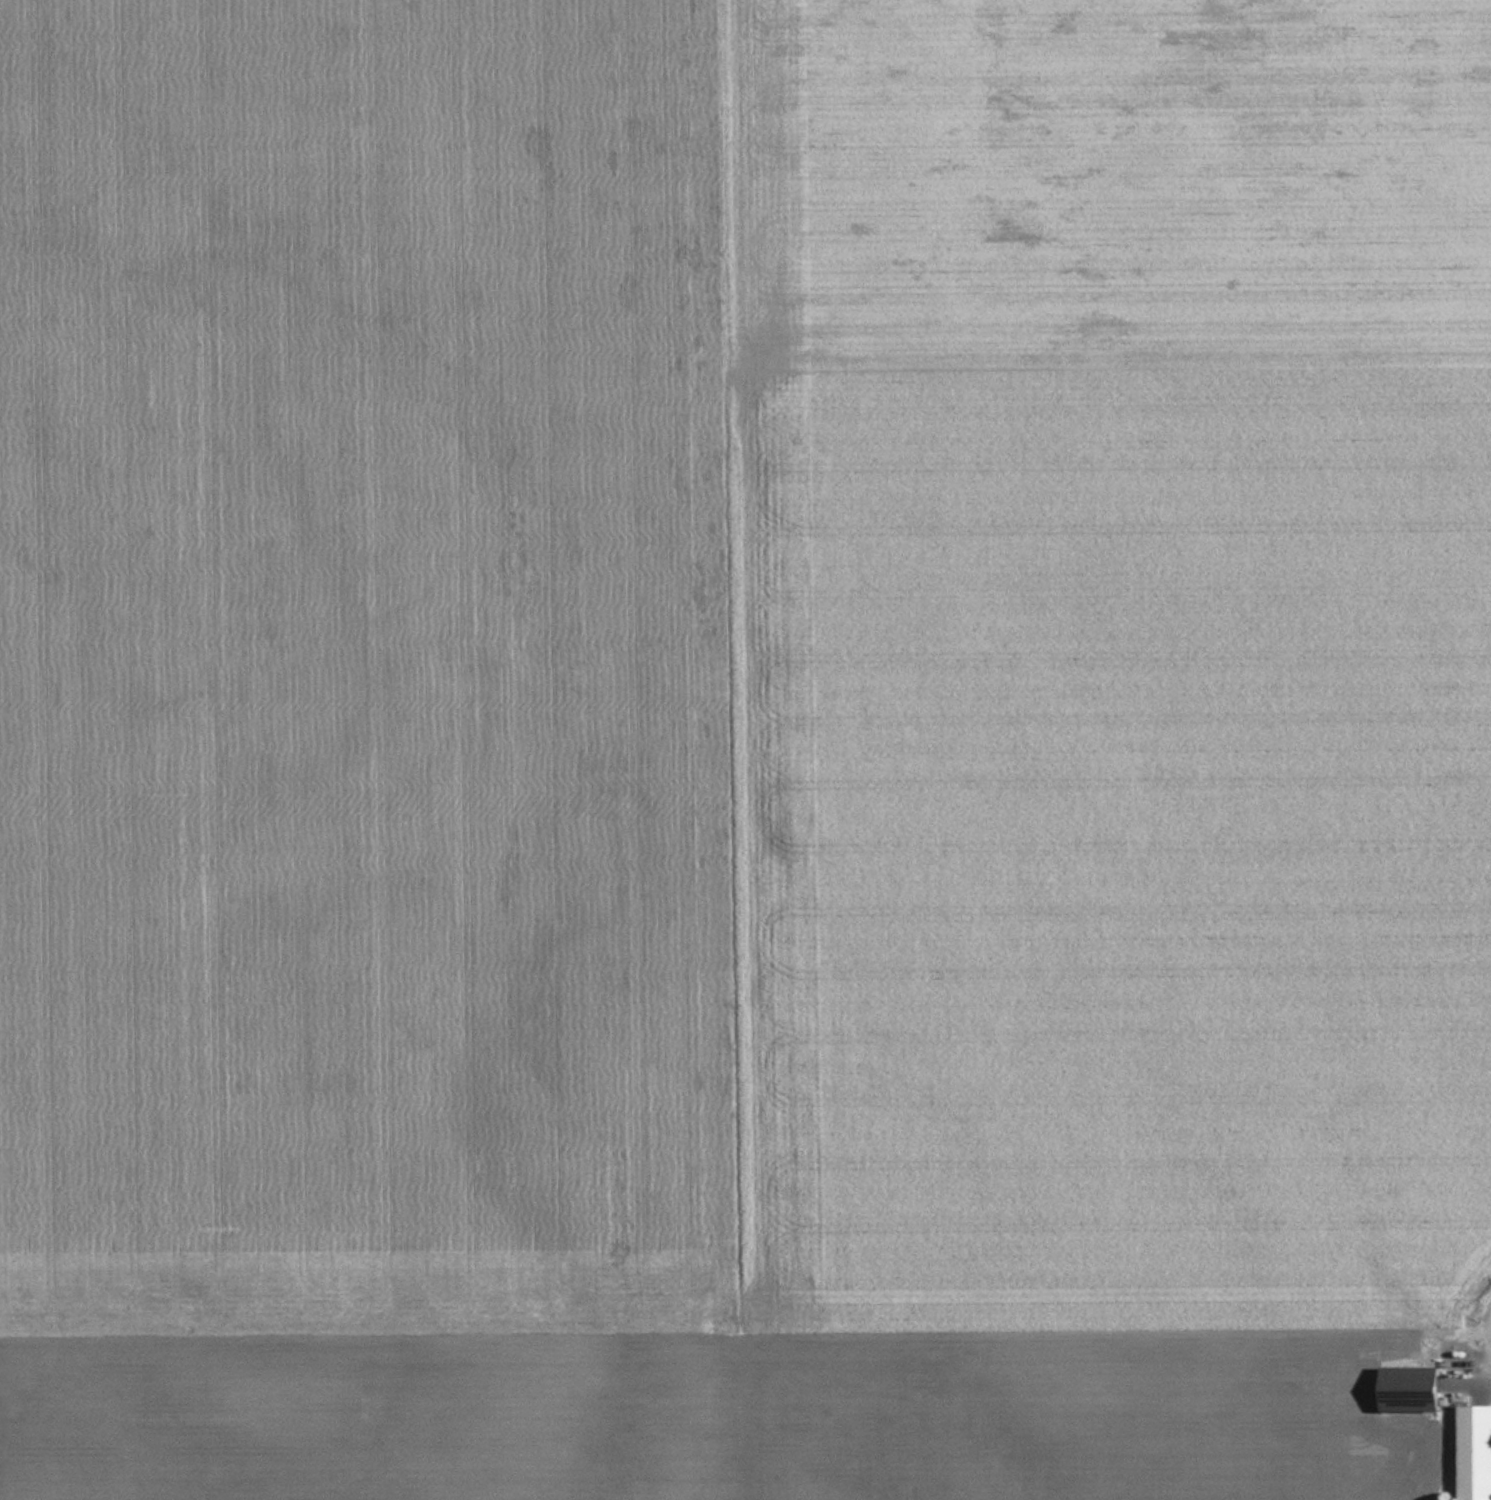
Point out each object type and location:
building: (1464, 1355)
building: (1406, 1388)
building: (1472, 1452)

